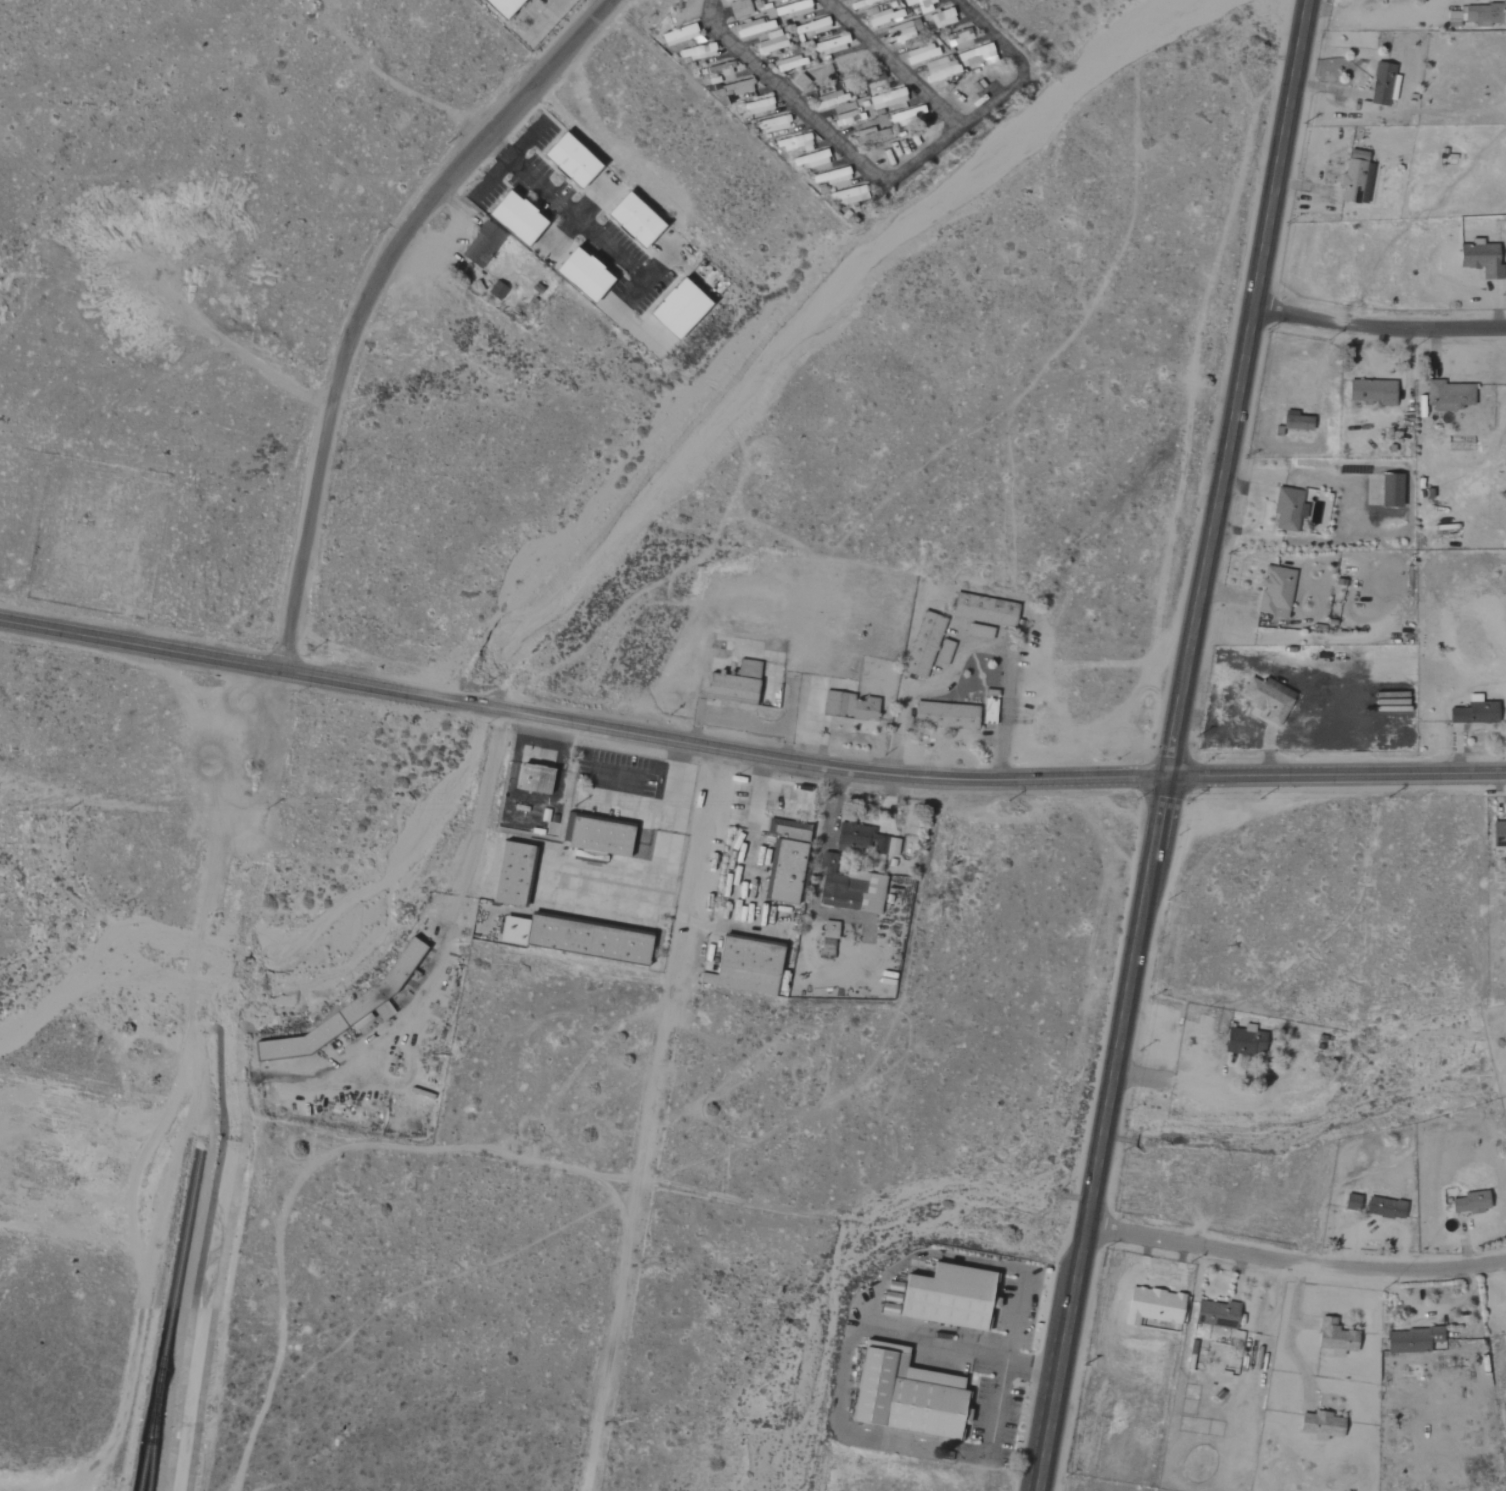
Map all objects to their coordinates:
building: (768, 0)
building: (790, 0)
road: (605, 2)
building: (921, 5)
building: (499, 6)
building: (737, 8)
building: (792, 9)
building: (1485, 14)
road: (546, 16)
building: (880, 17)
building: (942, 18)
building: (811, 27)
building: (751, 28)
building: (902, 32)
road: (989, 34)
building: (677, 35)
building: (770, 42)
building: (830, 46)
building: (694, 52)
building: (919, 54)
building: (976, 56)
road: (890, 64)
building: (938, 68)
building: (799, 83)
building: (1380, 84)
building: (735, 88)
building: (886, 99)
building: (829, 100)
building: (903, 116)
building: (847, 118)
building: (813, 159)
road: (850, 159)
building: (566, 163)
building: (829, 177)
building: (1351, 177)
building: (847, 196)
road: (564, 209)
building: (512, 220)
building: (629, 221)
building: (480, 245)
building: (1479, 259)
building: (579, 276)
building: (495, 291)
road: (366, 296)
building: (674, 310)
road: (1379, 327)
building: (1370, 392)
building: (1447, 396)
building: (1295, 422)
building: (1389, 490)
building: (1286, 509)
building: (1272, 591)
building: (1005, 614)
building: (921, 645)
road: (968, 647)
building: (942, 652)
building: (733, 684)
building: (1265, 697)
building: (847, 706)
building: (1473, 712)
building: (943, 716)
road: (1173, 745)
road: (748, 754)
building: (531, 779)
building: (1498, 834)
building: (596, 837)
building: (864, 839)
building: (784, 860)
road: (656, 861)
building: (507, 874)
road: (463, 875)
building: (850, 890)
building: (572, 939)
building: (826, 940)
building: (743, 967)
building: (344, 1011)
building: (1243, 1041)
road: (1175, 1082)
road: (655, 1120)
building: (1350, 1202)
building: (1468, 1203)
building: (1384, 1208)
road: (1295, 1262)
building: (1151, 1306)
building: (1214, 1314)
railway: (170, 1317)
road: (1289, 1335)
road: (927, 1338)
building: (1333, 1338)
building: (1410, 1340)
road: (1027, 1363)
building: (901, 1395)
road: (996, 1402)
railway: (151, 1422)
building: (1318, 1426)

